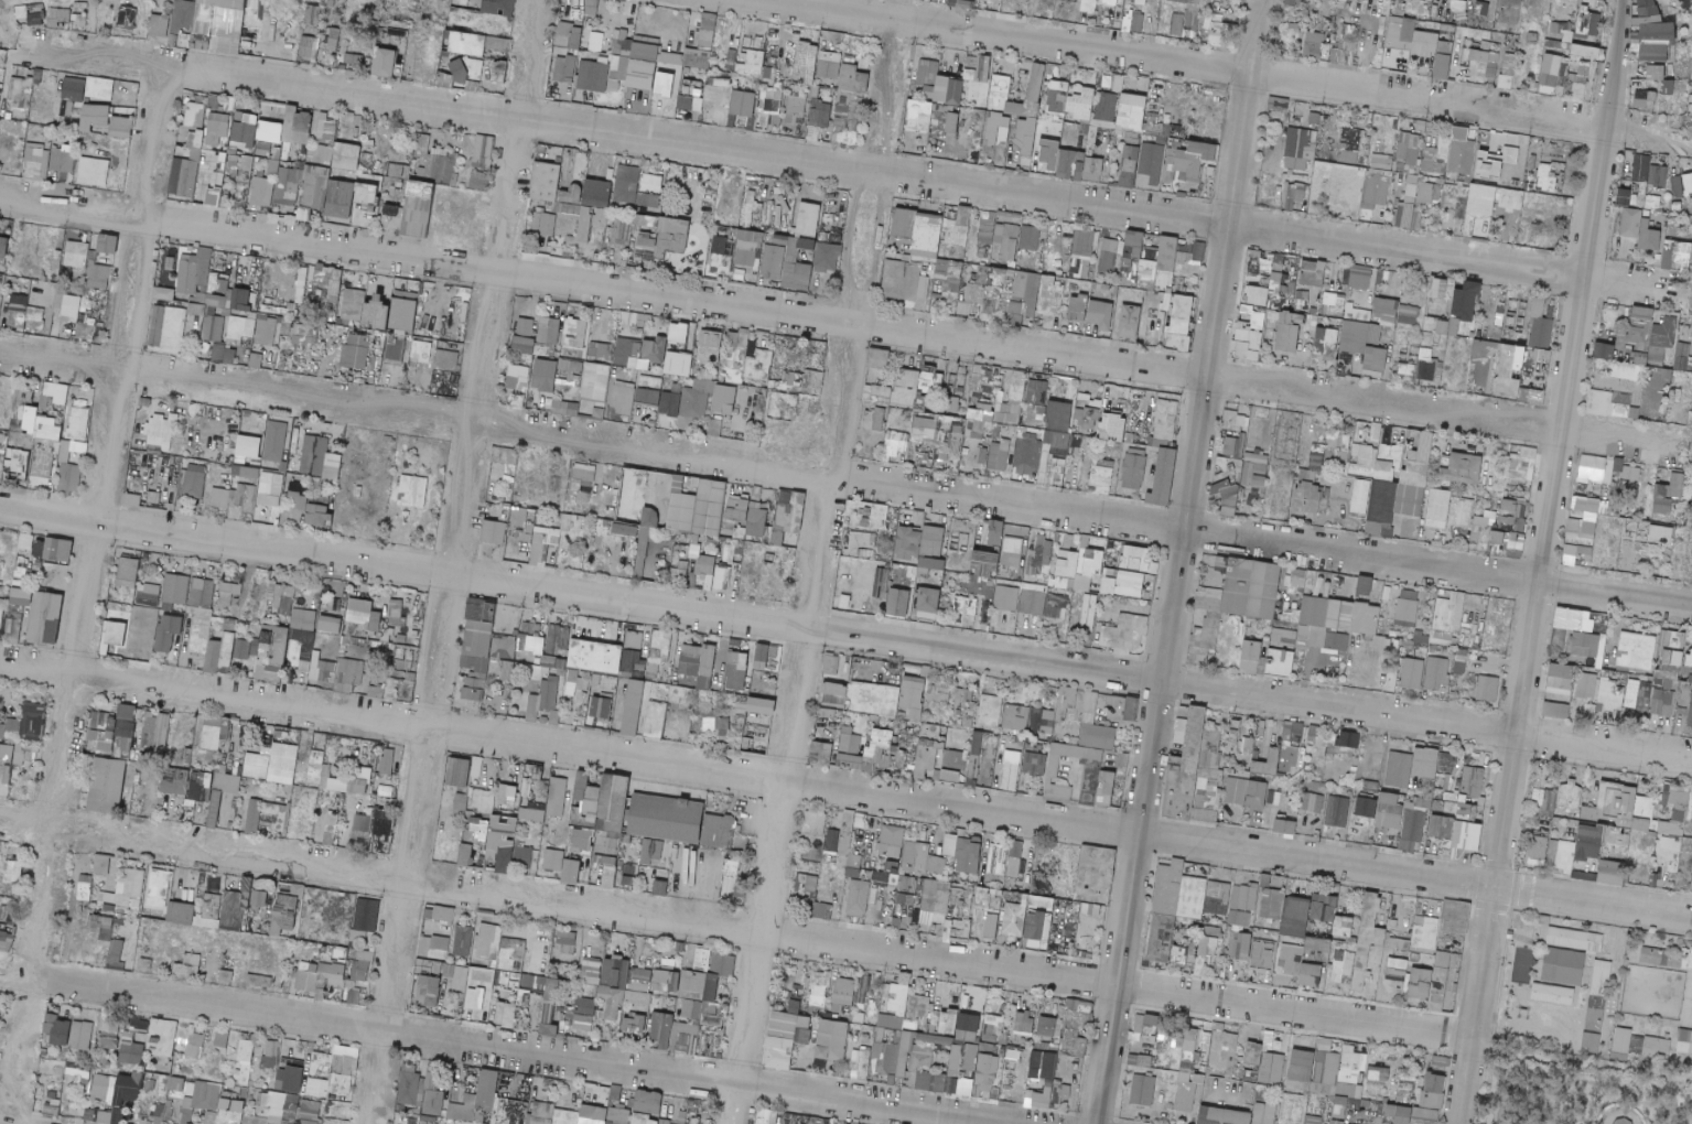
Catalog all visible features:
park: (1576, 1096)

